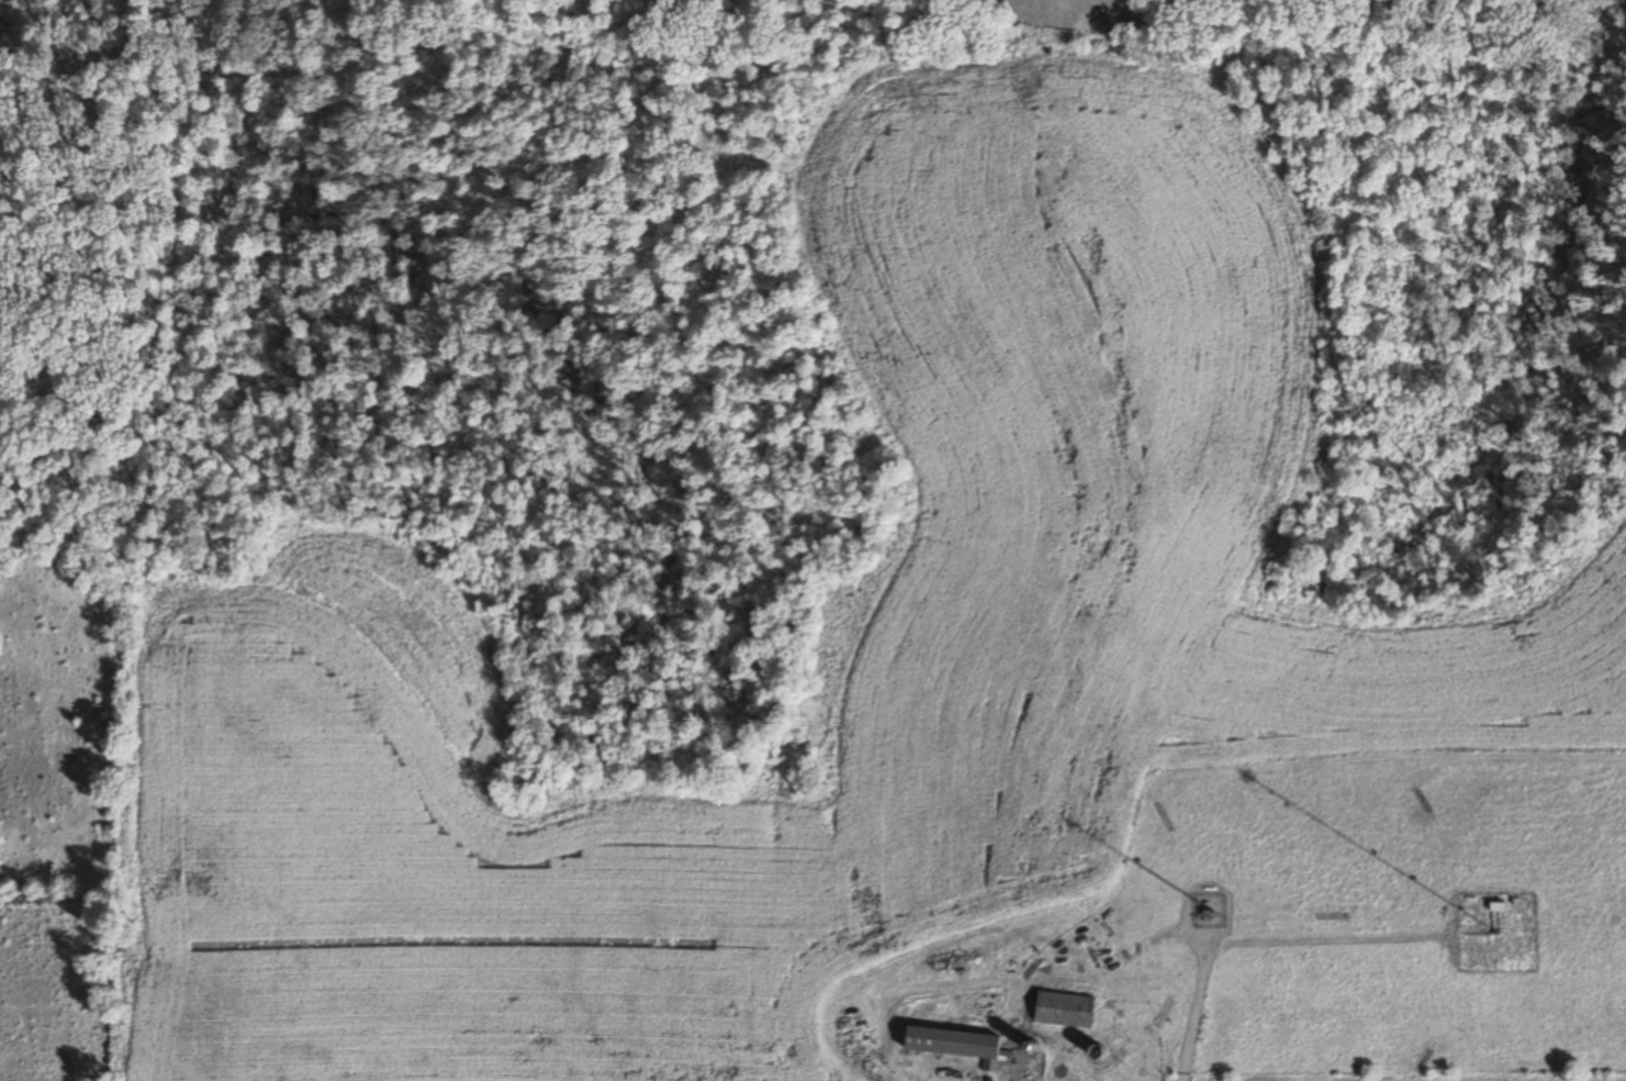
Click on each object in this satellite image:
building: (1052, 1010)
building: (954, 1046)
building: (1097, 1051)

